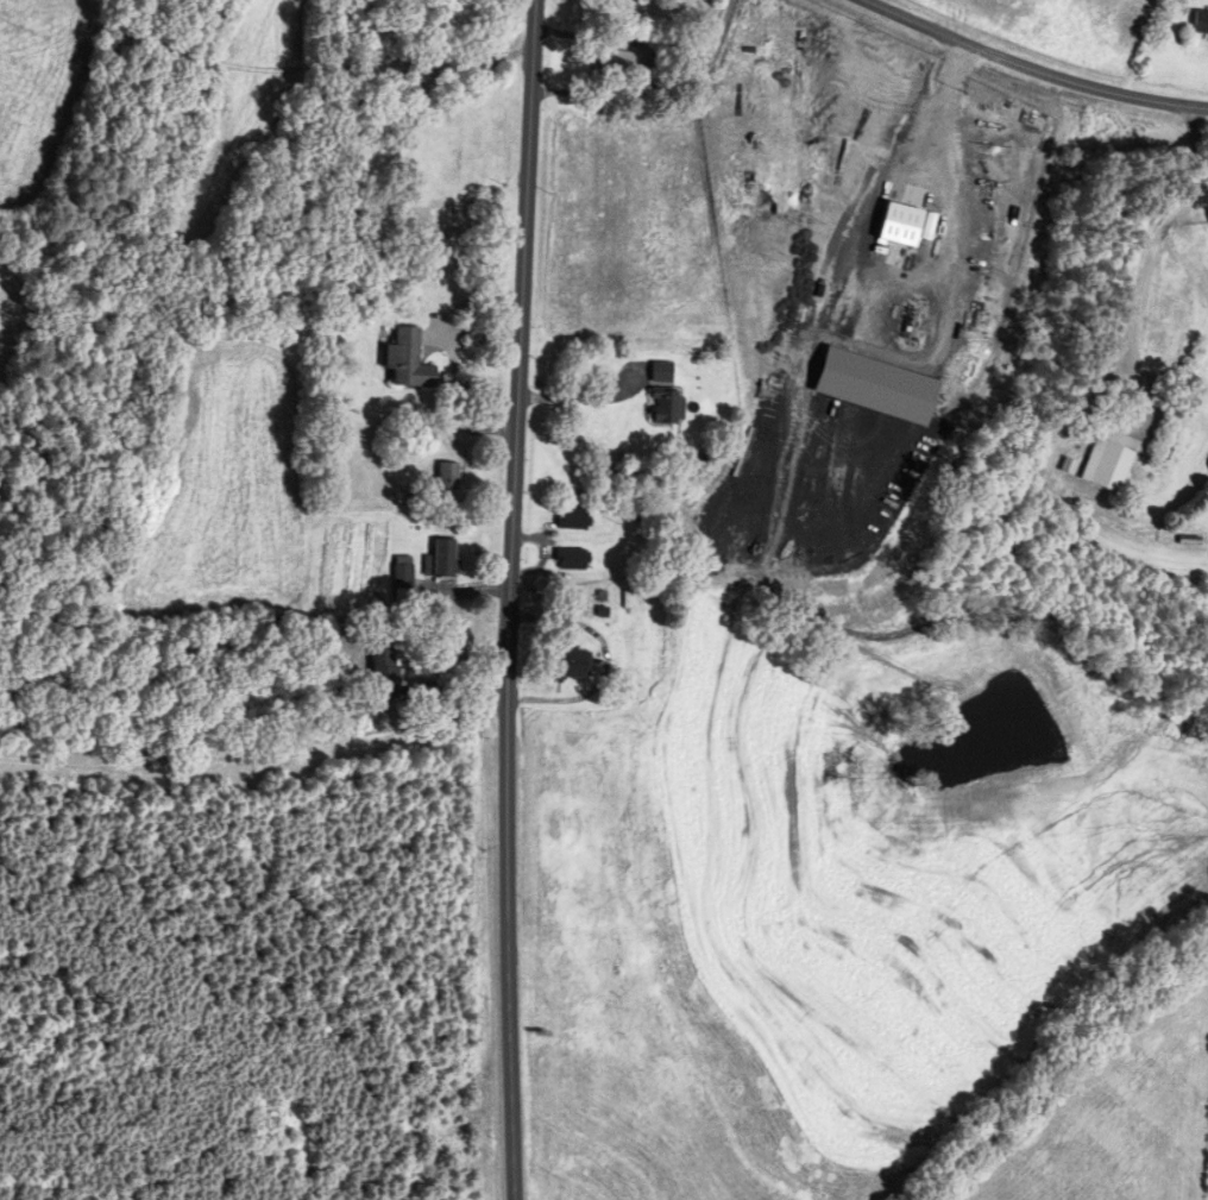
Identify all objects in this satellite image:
building: (710, 0)
building: (1198, 23)
building: (619, 61)
road: (1036, 70)
building: (440, 235)
road: (1164, 247)
building: (409, 360)
road: (584, 396)
building: (662, 408)
building: (449, 477)
building: (571, 520)
building: (446, 559)
building: (571, 560)
building: (403, 578)
road: (509, 599)
building: (567, 664)
building: (385, 672)

